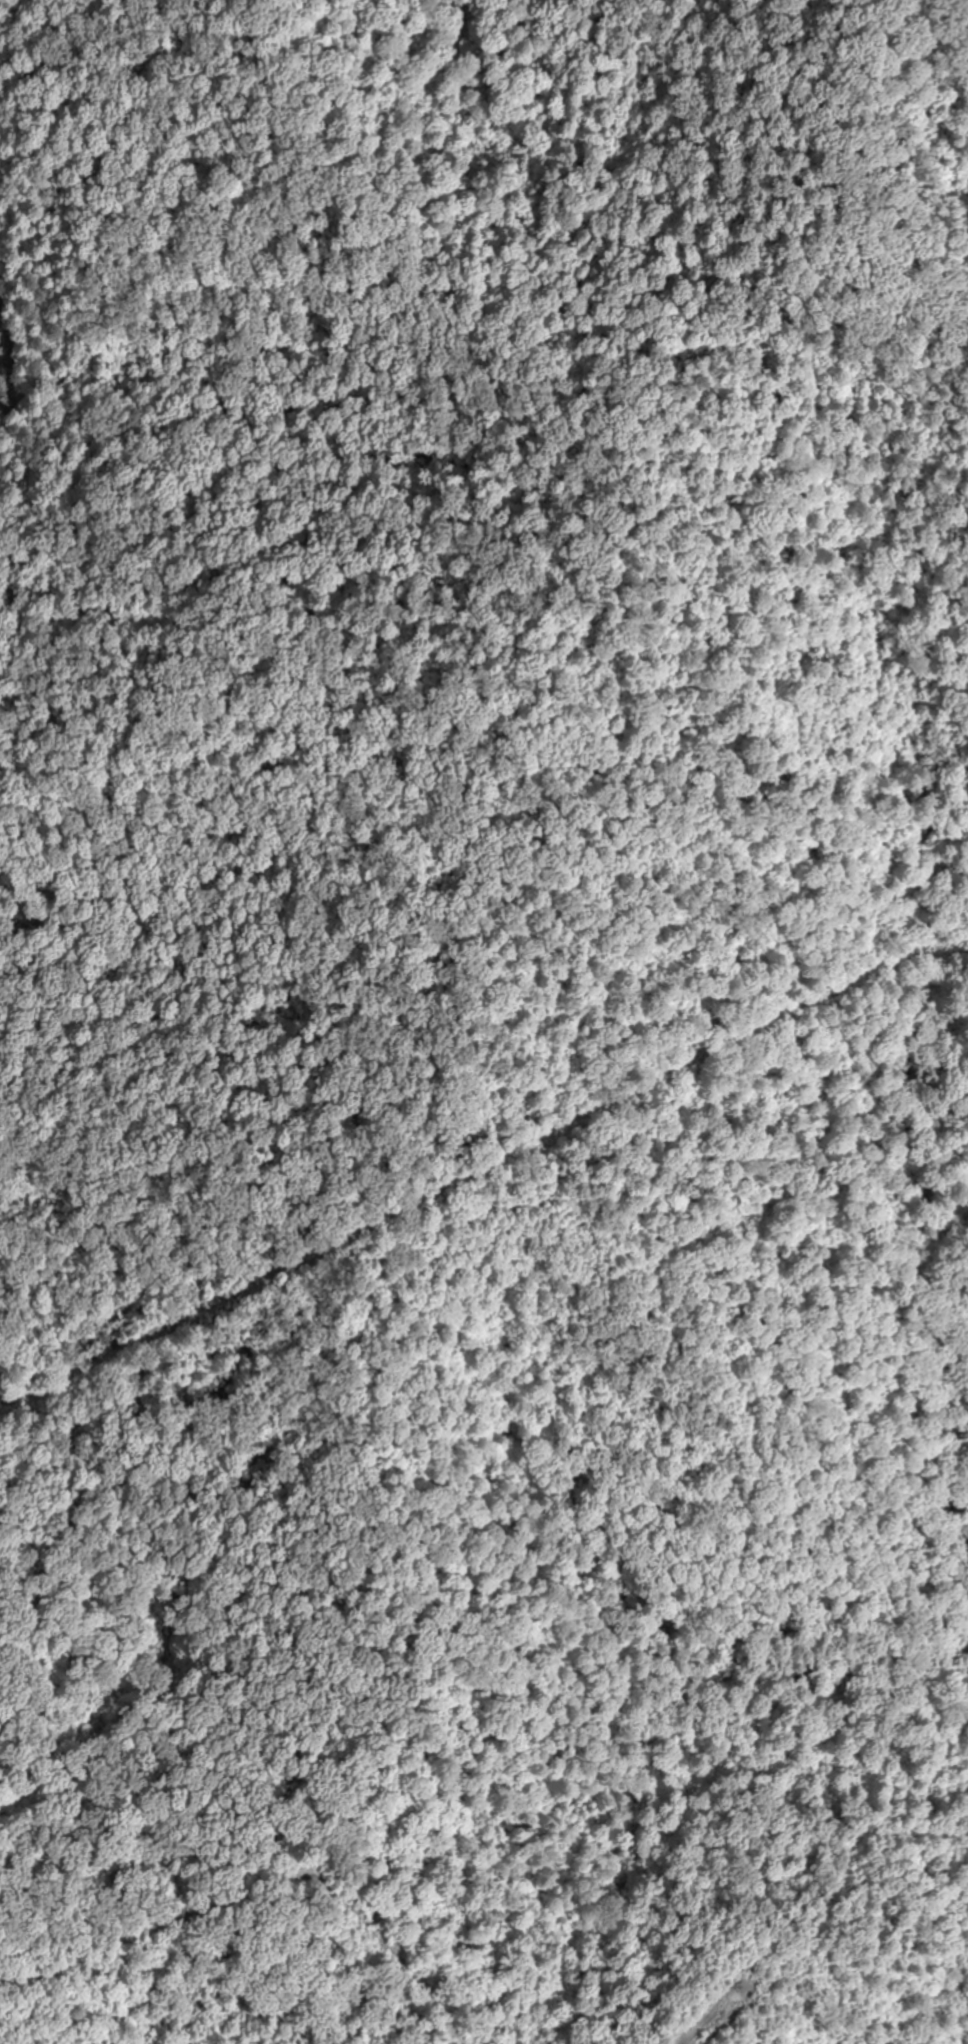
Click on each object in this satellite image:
road: (0, 3)

